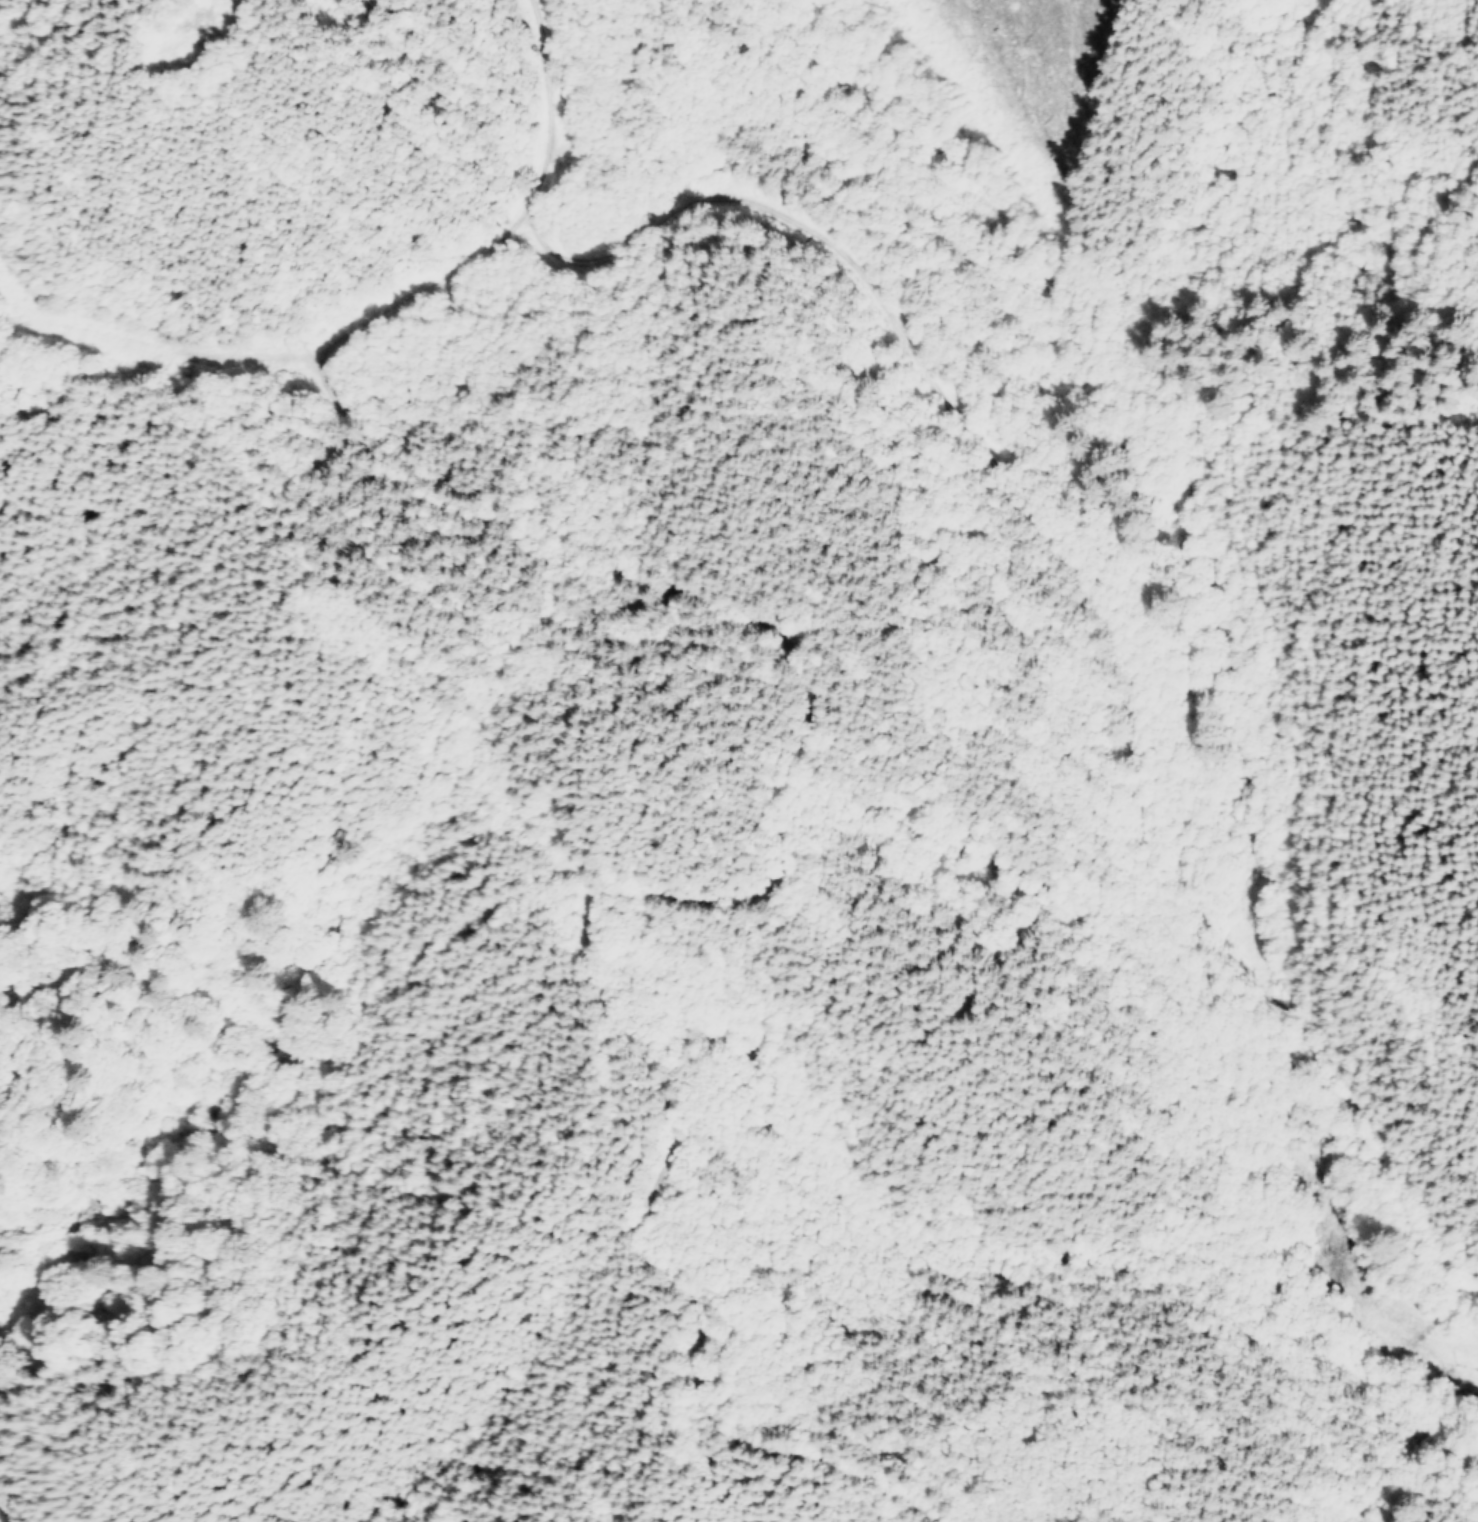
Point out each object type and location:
road: (623, 197)
road: (374, 300)
railway: (4, 1515)

